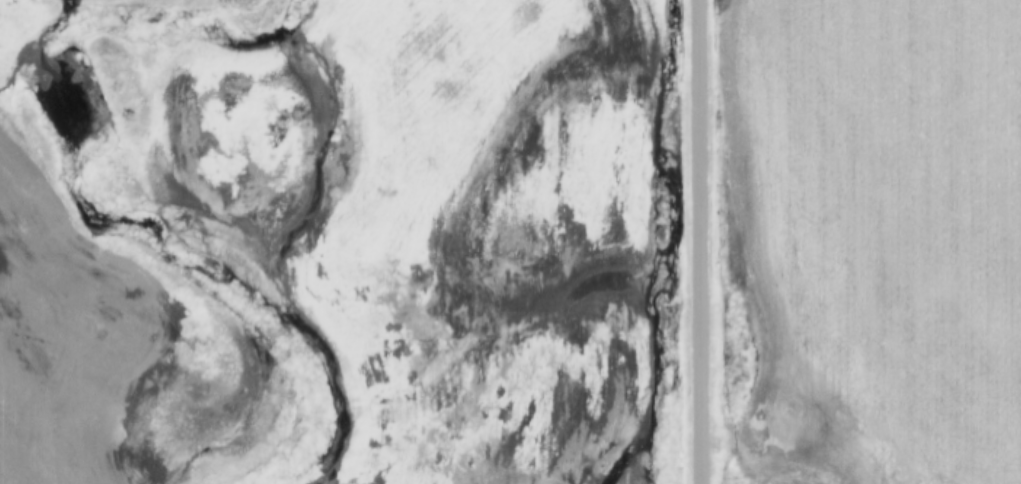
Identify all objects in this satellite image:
road: (698, 242)

